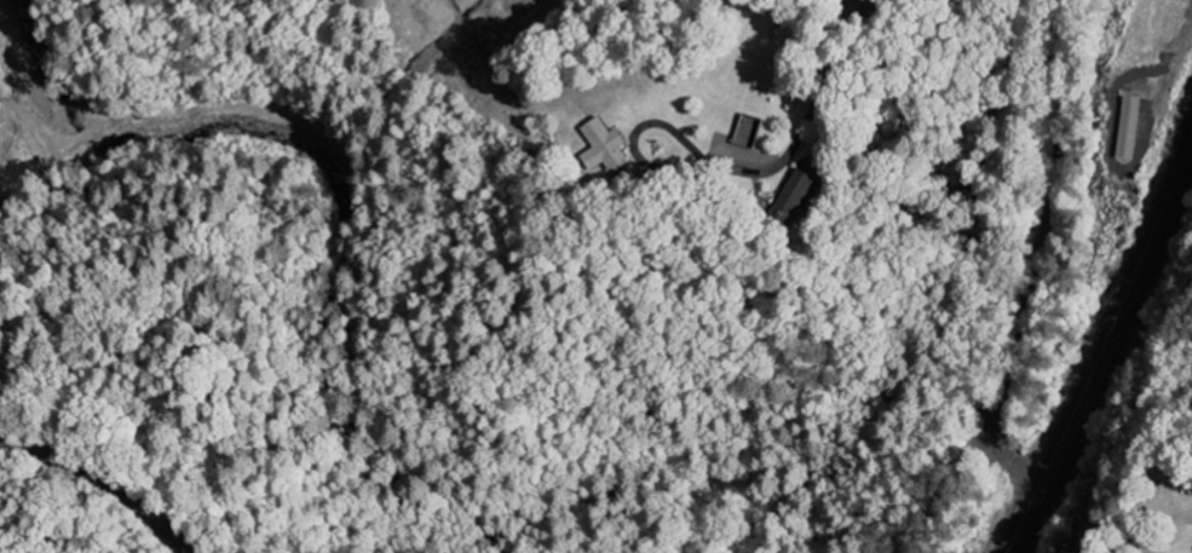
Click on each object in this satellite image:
road: (874, 5)
building: (1134, 128)
building: (755, 132)
road: (801, 133)
building: (615, 144)
building: (806, 189)
road: (1042, 253)
road: (1105, 345)
road: (106, 479)

